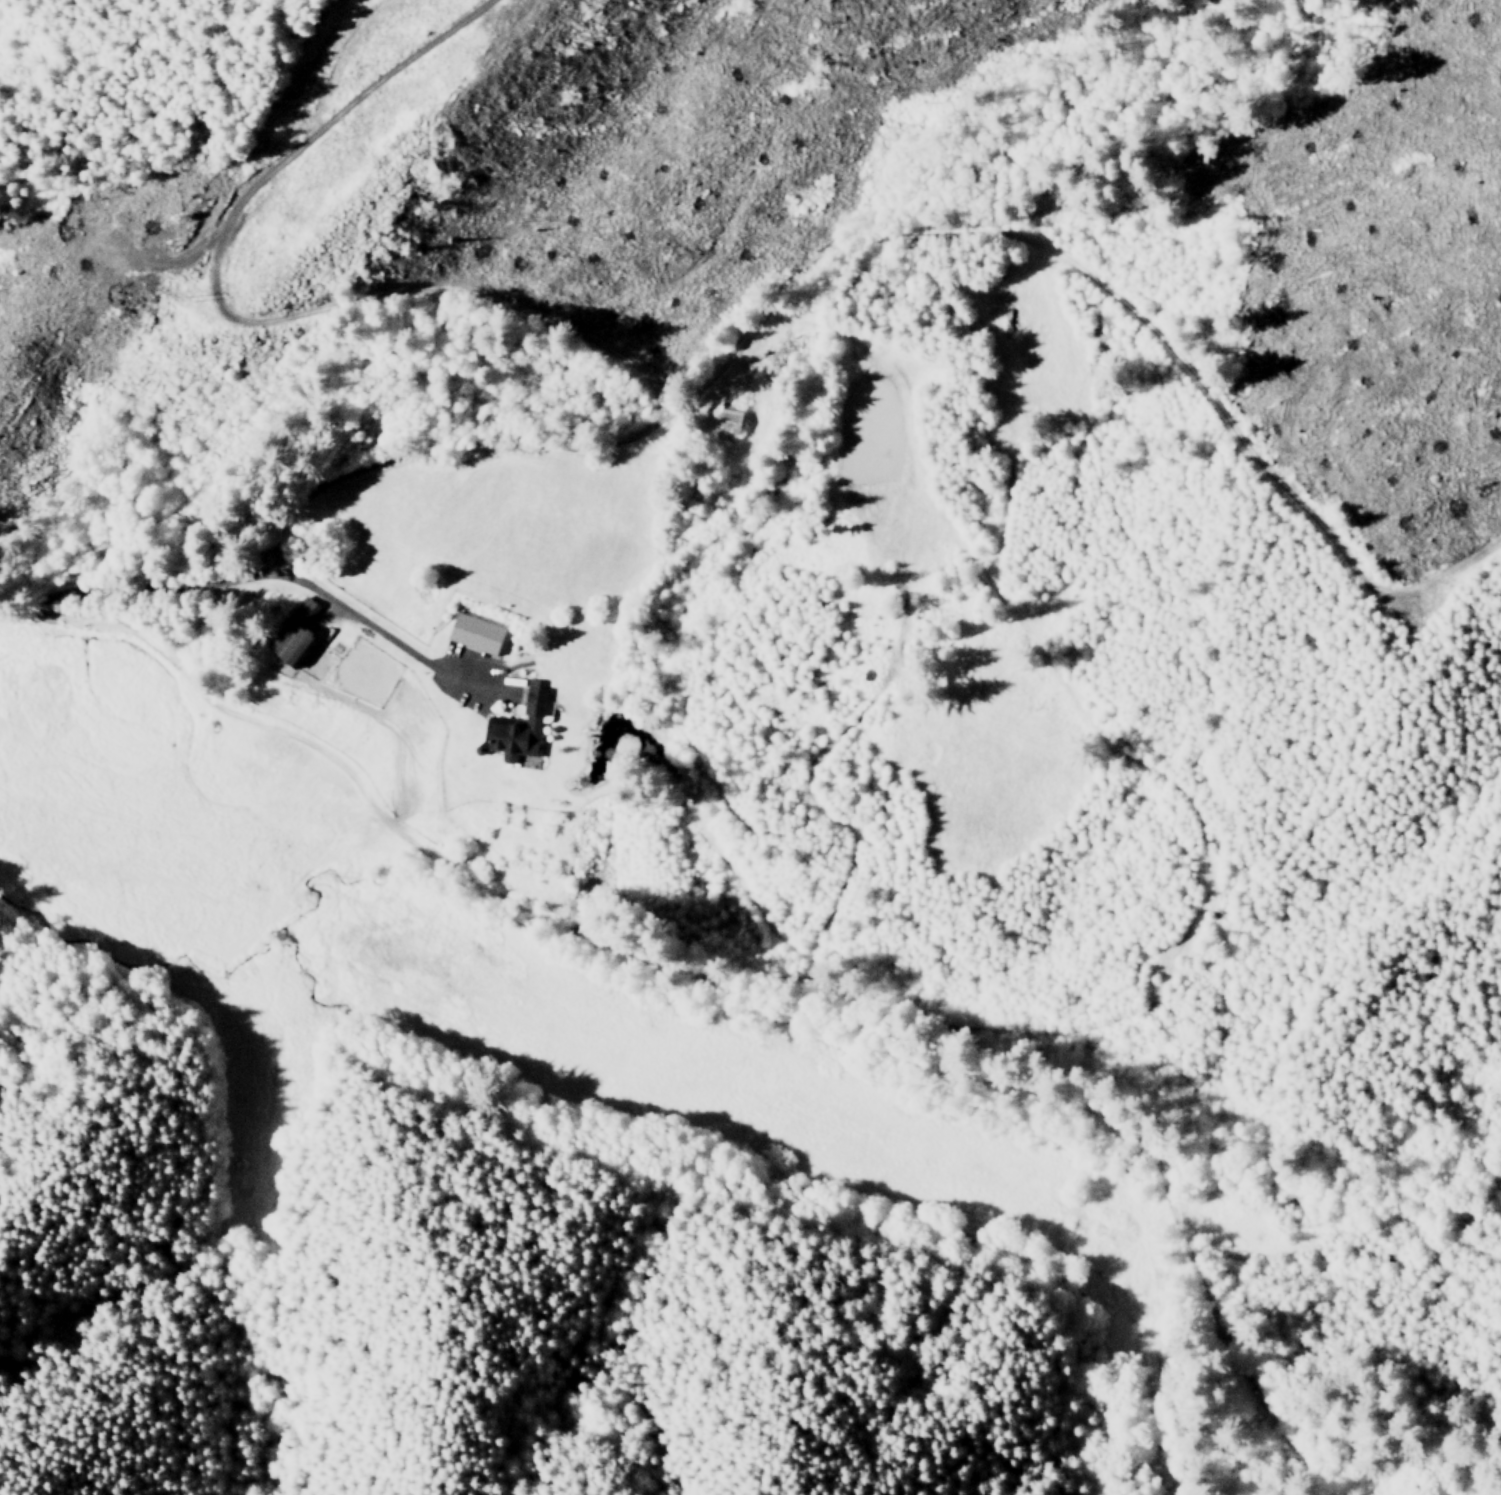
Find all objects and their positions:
power tower: (183, 295)
building: (730, 423)
road: (232, 579)
building: (294, 633)
building: (476, 633)
building: (520, 724)

